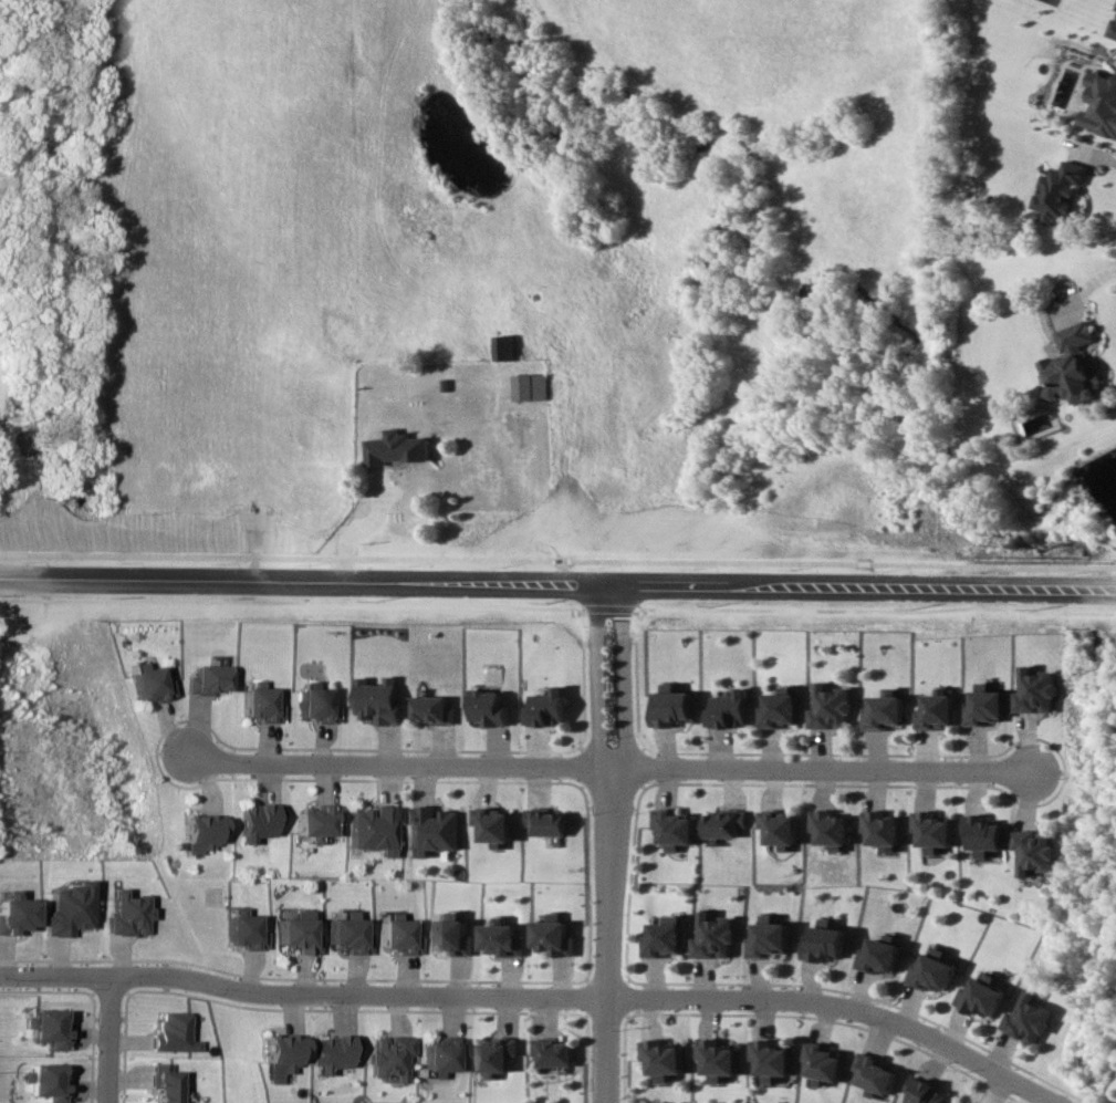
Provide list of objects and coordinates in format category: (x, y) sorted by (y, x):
building: (1113, 28)
building: (1102, 104)
road: (1092, 150)
building: (1061, 190)
building: (504, 347)
building: (1074, 366)
building: (530, 386)
building: (398, 448)
road: (521, 579)
road: (1078, 589)
building: (209, 679)
building: (148, 683)
building: (1036, 690)
building: (377, 700)
building: (260, 704)
building: (317, 704)
building: (985, 706)
building: (549, 707)
building: (670, 707)
building: (827, 707)
building: (488, 708)
building: (776, 708)
building: (432, 709)
building: (729, 709)
building: (882, 710)
building: (935, 710)
road: (611, 766)
building: (260, 821)
building: (544, 821)
building: (320, 823)
building: (721, 823)
building: (491, 825)
building: (670, 828)
building: (775, 828)
building: (376, 829)
building: (827, 829)
building: (880, 829)
building: (432, 830)
building: (931, 830)
building: (201, 832)
building: (982, 834)
road: (609, 841)
building: (1035, 851)
building: (66, 909)
building: (13, 913)
building: (125, 913)
building: (243, 930)
building: (299, 933)
building: (348, 934)
building: (398, 935)
building: (450, 935)
building: (553, 935)
building: (713, 936)
building: (665, 937)
building: (501, 938)
building: (768, 938)
building: (823, 940)
building: (878, 954)
building: (931, 971)
road: (366, 993)
building: (979, 996)
building: (1028, 1018)
road: (900, 1027)
building: (50, 1028)
building: (170, 1032)
road: (116, 1043)
building: (334, 1052)
building: (553, 1052)
building: (442, 1054)
building: (280, 1055)
building: (497, 1055)
building: (390, 1057)
building: (663, 1058)
building: (717, 1058)
building: (771, 1059)
building: (822, 1062)
building: (874, 1073)
building: (49, 1081)
building: (163, 1084)
building: (922, 1092)
building: (958, 1102)

